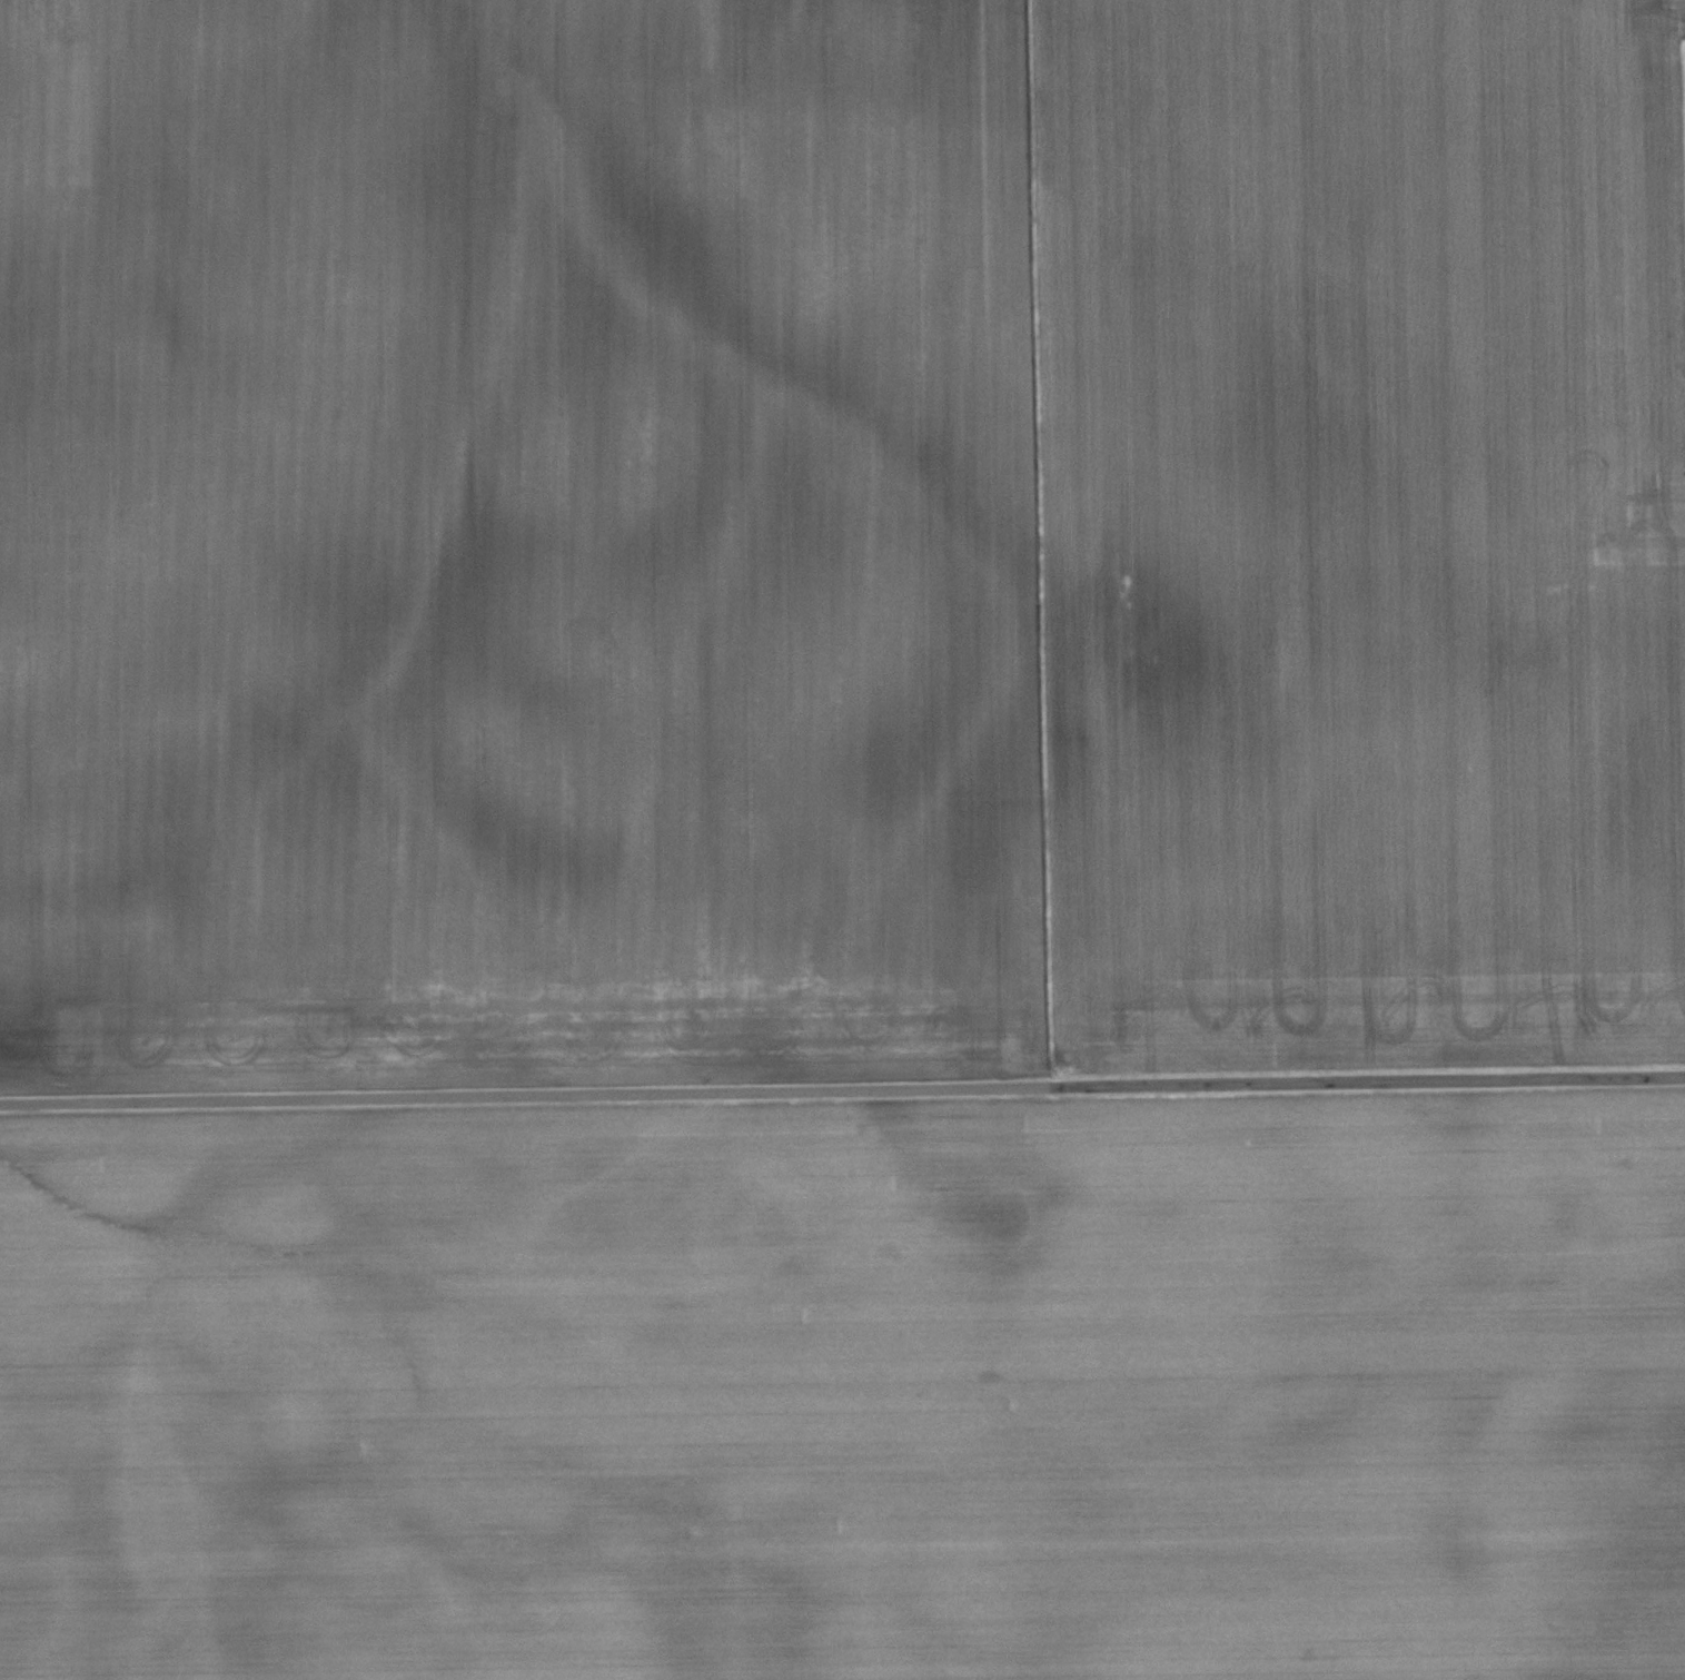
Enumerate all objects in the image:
road: (1367, 1079)
road: (525, 1094)

